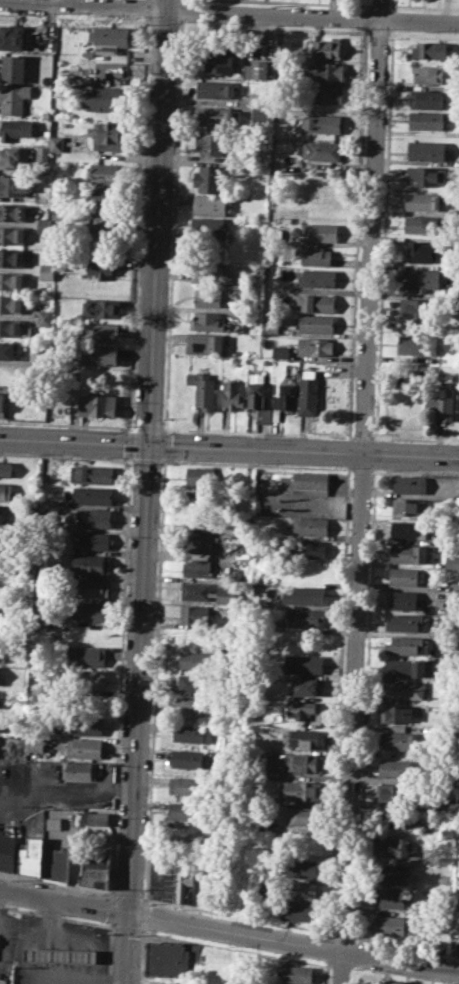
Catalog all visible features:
road: (182, 0)
road: (56, 1)
road: (147, 8)
road: (181, 10)
road: (230, 11)
building: (110, 35)
building: (14, 37)
building: (328, 48)
building: (429, 50)
building: (218, 58)
building: (15, 68)
building: (256, 68)
building: (325, 70)
building: (428, 73)
building: (215, 88)
building: (323, 94)
building: (14, 98)
building: (105, 99)
building: (426, 99)
building: (260, 112)
building: (214, 114)
building: (425, 120)
building: (321, 123)
building: (15, 129)
building: (109, 131)
building: (211, 140)
building: (57, 143)
building: (426, 150)
building: (322, 151)
building: (41, 153)
building: (11, 156)
building: (42, 167)
building: (103, 172)
building: (426, 176)
building: (210, 178)
building: (14, 185)
building: (322, 186)
building: (101, 198)
building: (422, 201)
building: (211, 204)
building: (15, 211)
building: (57, 214)
road: (139, 222)
building: (42, 224)
building: (421, 224)
road: (172, 225)
building: (104, 226)
building: (209, 228)
building: (320, 231)
building: (14, 234)
building: (421, 252)
building: (313, 255)
building: (12, 257)
building: (101, 266)
building: (47, 271)
building: (208, 273)
building: (317, 278)
building: (420, 279)
building: (12, 281)
building: (212, 297)
building: (316, 302)
building: (11, 304)
building: (101, 307)
building: (419, 307)
building: (45, 317)
building: (209, 321)
building: (315, 324)
building: (14, 328)
building: (101, 331)
building: (206, 342)
building: (418, 345)
building: (315, 347)
building: (7, 351)
building: (280, 351)
building: (99, 354)
building: (7, 374)
building: (203, 388)
building: (232, 394)
building: (258, 395)
building: (308, 395)
building: (284, 399)
building: (441, 402)
building: (3, 404)
building: (97, 404)
road: (67, 424)
road: (132, 427)
road: (147, 427)
road: (256, 432)
road: (361, 436)
road: (415, 439)
road: (130, 443)
traffic signals: (149, 444)
road: (165, 444)
road: (229, 447)
street lamp: (36, 454)
road: (65, 456)
street lamp: (103, 456)
road: (146, 459)
road: (164, 459)
street lamp: (184, 460)
street lamp: (256, 463)
street lamp: (344, 466)
street lamp: (393, 468)
building: (6, 469)
building: (92, 474)
building: (202, 477)
building: (309, 482)
building: (410, 484)
building: (6, 491)
road: (362, 491)
road: (147, 492)
building: (92, 495)
building: (201, 500)
building: (409, 505)
building: (0, 513)
building: (93, 517)
building: (199, 523)
building: (309, 526)
building: (409, 529)
building: (2, 536)
street lamp: (129, 536)
building: (90, 540)
building: (197, 544)
building: (308, 548)
building: (408, 553)
building: (3, 559)
building: (452, 562)
building: (90, 564)
building: (196, 566)
building: (21, 572)
building: (403, 576)
building: (90, 587)
building: (209, 592)
building: (305, 595)
building: (403, 599)
street lamp: (126, 603)
building: (1, 606)
road: (342, 609)
building: (90, 610)
building: (195, 613)
building: (305, 616)
building: (404, 622)
building: (408, 644)
building: (2, 652)
building: (86, 655)
building: (198, 659)
building: (303, 662)
building: (404, 668)
building: (428, 668)
road: (120, 676)
street lamp: (123, 676)
building: (1, 678)
building: (86, 679)
road: (154, 679)
building: (195, 682)
building: (307, 686)
building: (402, 689)
building: (0, 697)
building: (192, 706)
building: (301, 708)
building: (397, 713)
building: (85, 724)
building: (193, 733)
building: (305, 738)
building: (400, 740)
building: (35, 743)
street lamp: (120, 747)
building: (84, 748)
building: (187, 758)
building: (303, 762)
building: (396, 769)
building: (80, 770)
building: (186, 784)
building: (300, 790)
building: (394, 792)
building: (185, 810)
building: (304, 816)
building: (96, 817)
street lamp: (117, 817)
building: (403, 820)
building: (185, 838)
building: (394, 845)
building: (8, 851)
building: (32, 857)
building: (55, 863)
building: (88, 867)
building: (301, 867)
building: (392, 872)
street lamp: (32, 882)
road: (56, 883)
building: (184, 886)
building: (248, 888)
street lamp: (113, 890)
building: (301, 890)
road: (126, 896)
building: (391, 898)
road: (144, 899)
road: (111, 908)
building: (299, 912)
road: (237, 914)
road: (56, 916)
road: (144, 916)
road: (0, 920)
building: (392, 925)
building: (455, 927)
road: (125, 929)
road: (229, 930)
street lamp: (112, 932)
parking lot: (7, 945)
road: (233, 948)
road: (330, 948)
parking lot: (61, 951)
road: (108, 952)
building: (62, 955)
gas station: (62, 955)
road: (143, 956)
building: (169, 957)
road: (326, 972)
building: (296, 974)

